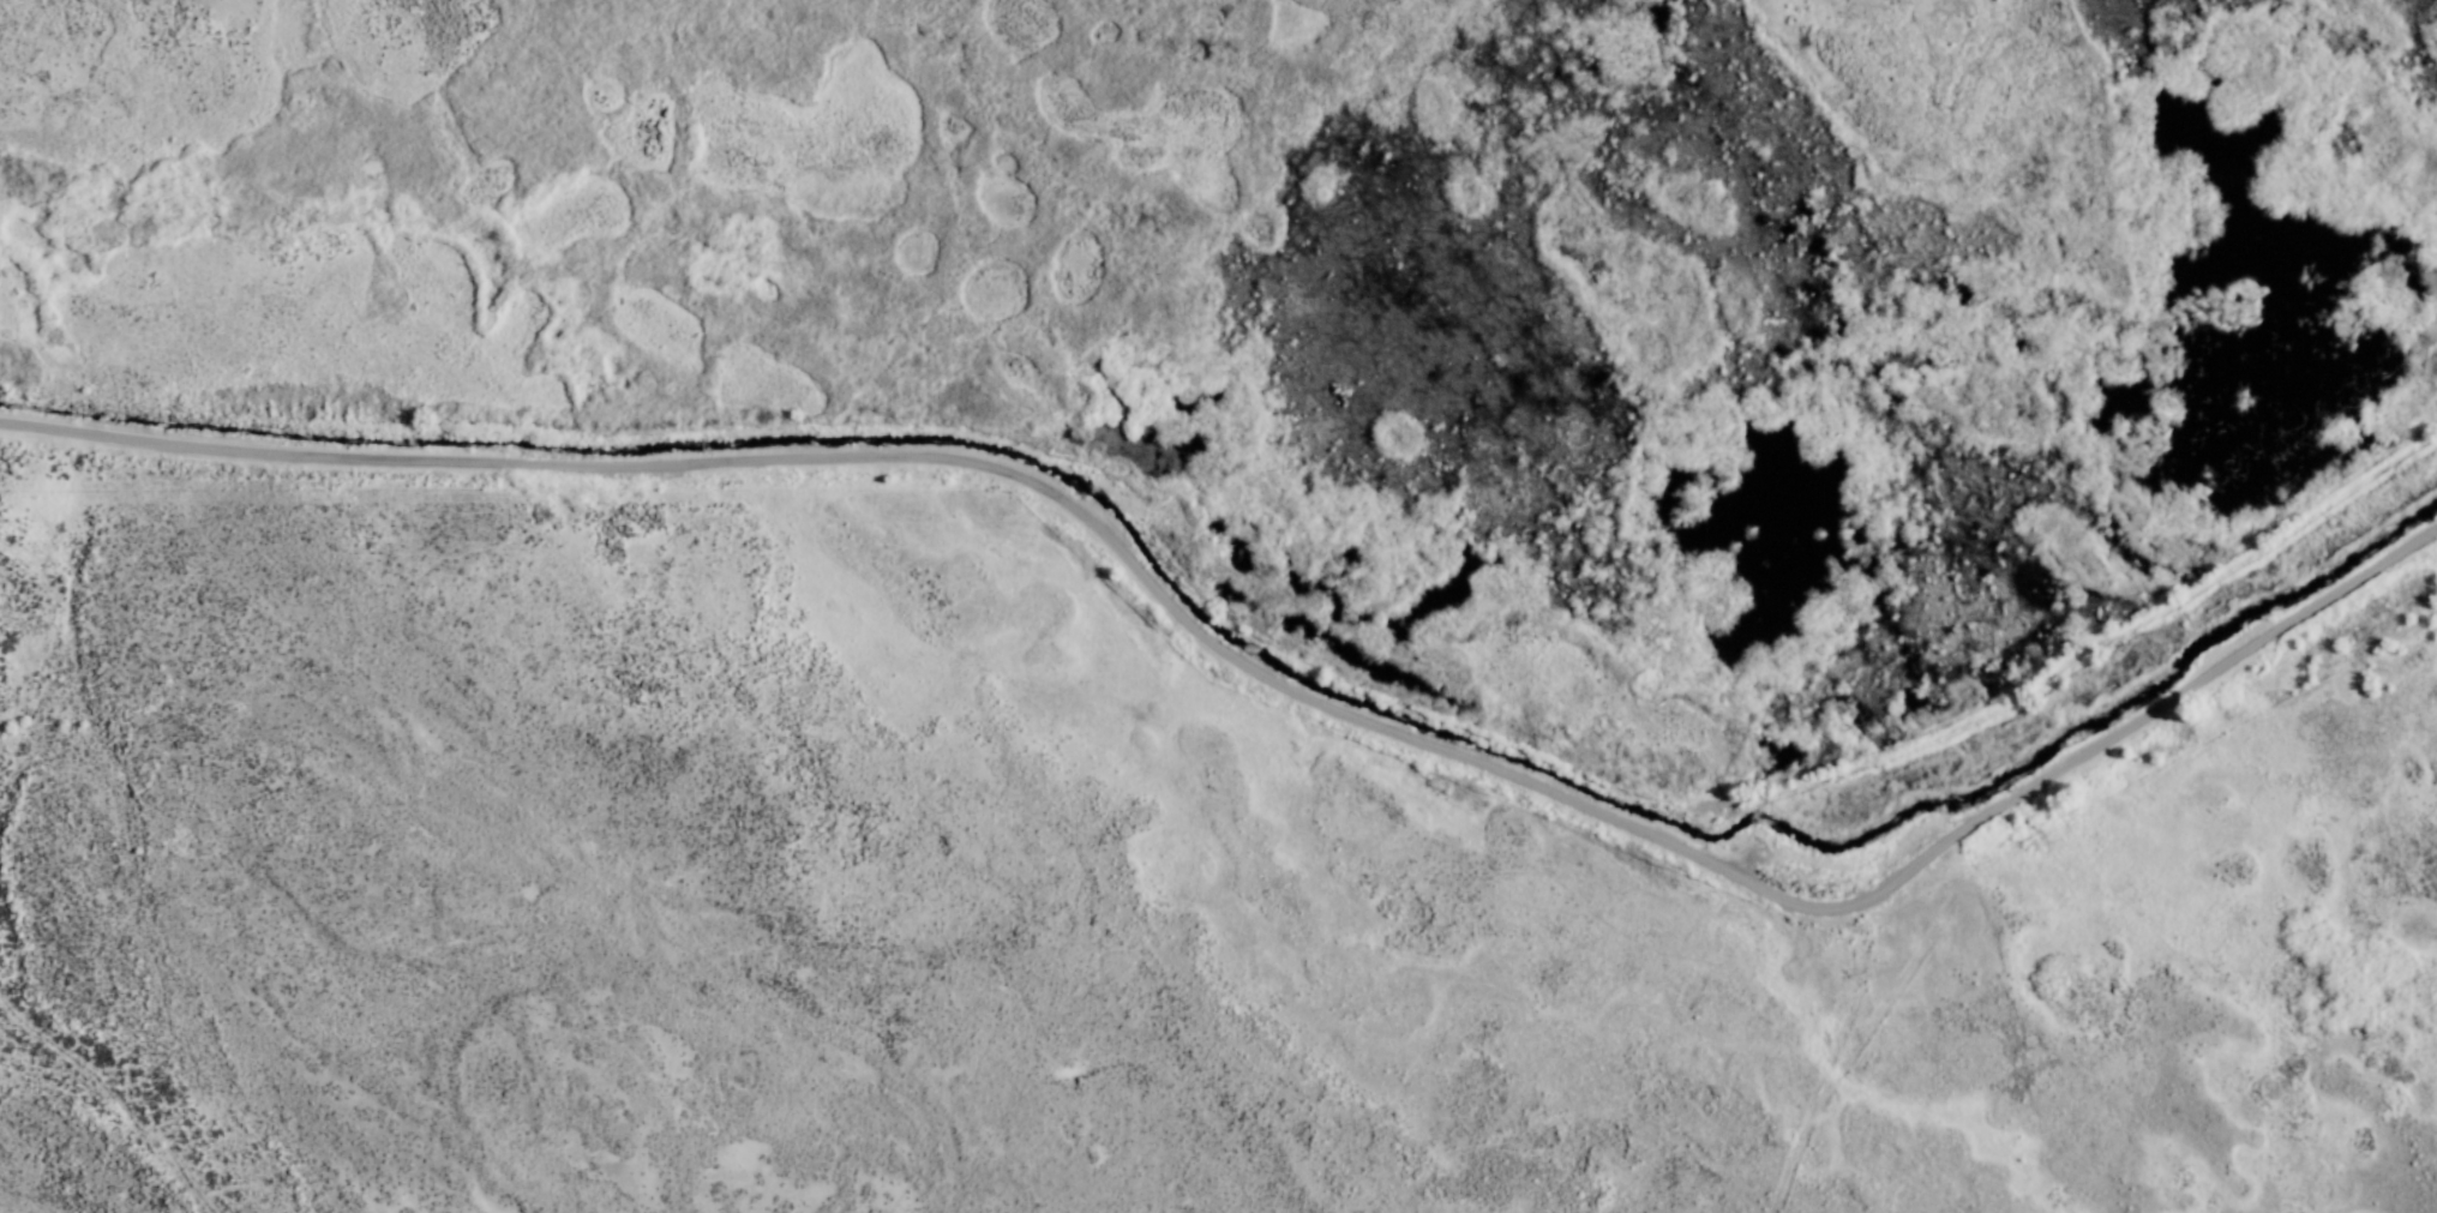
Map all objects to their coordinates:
road: (1257, 677)

